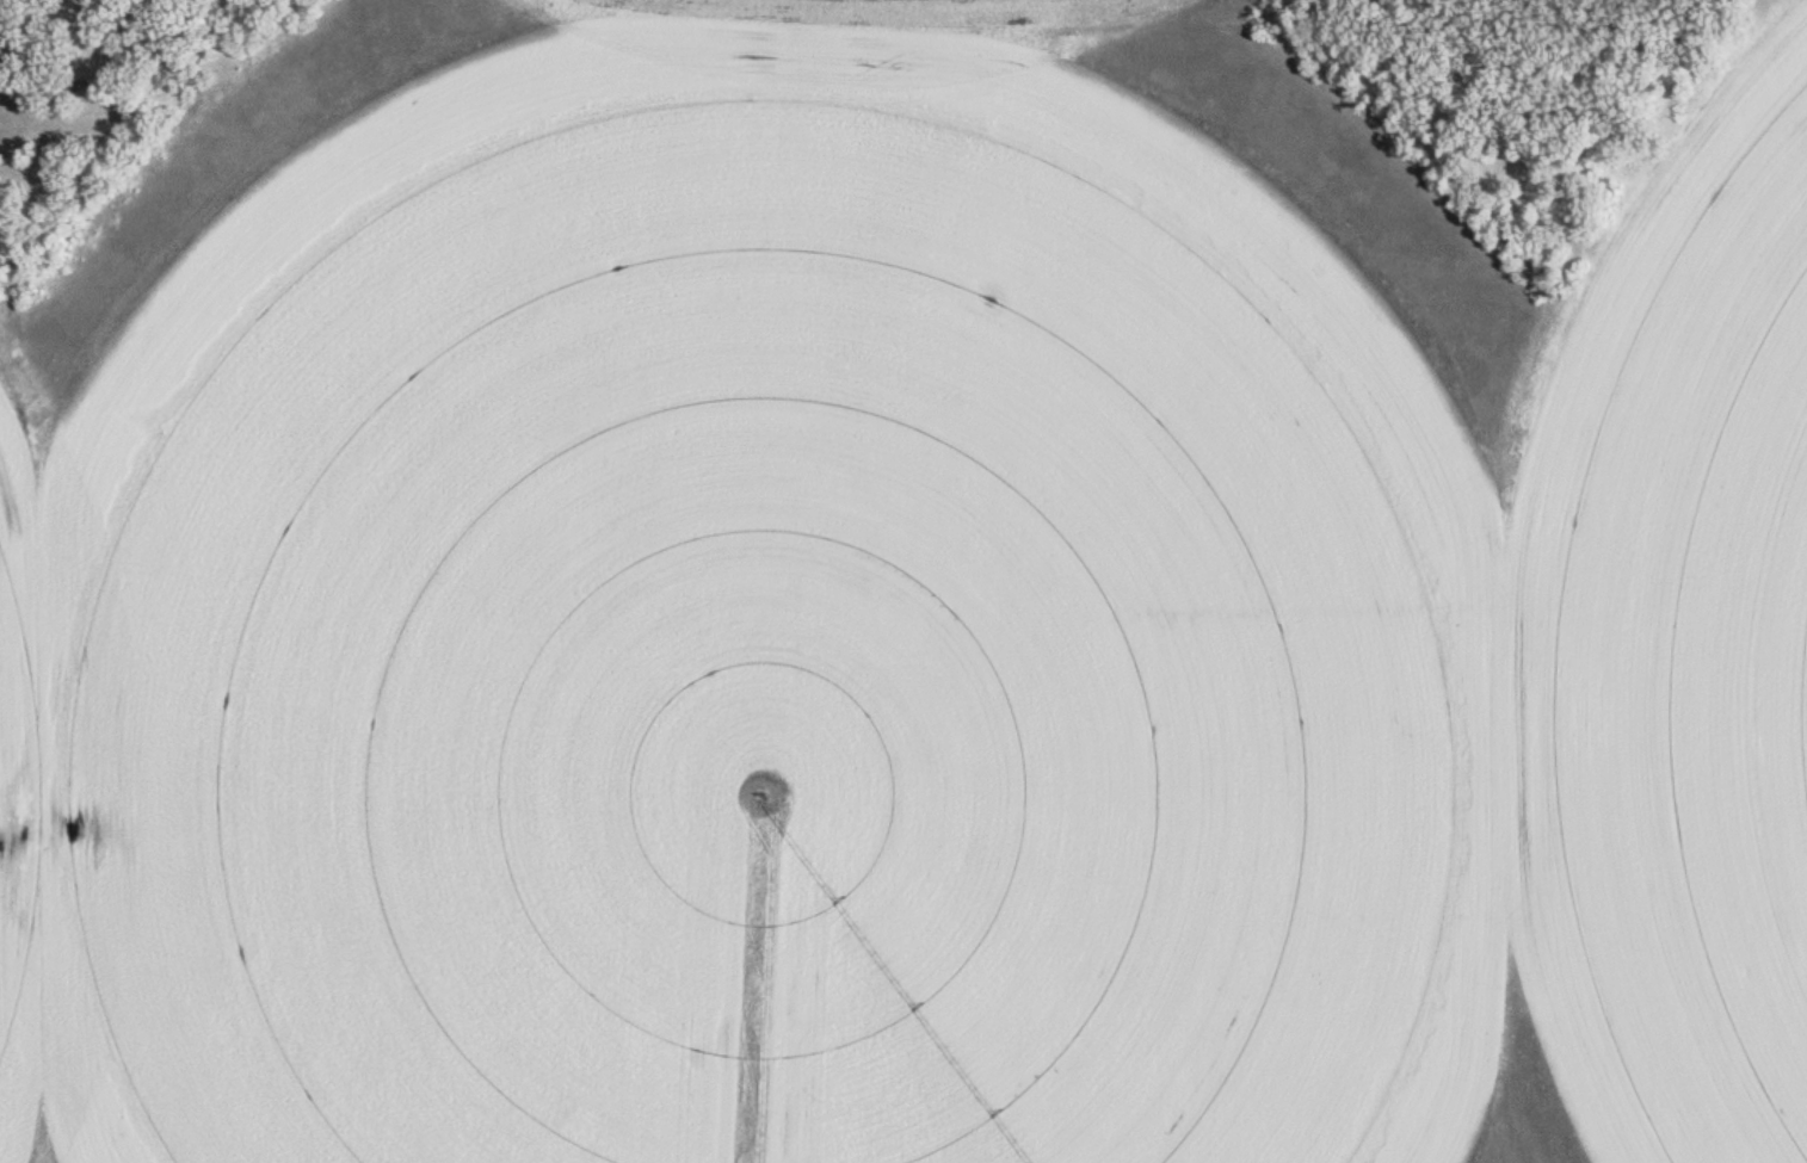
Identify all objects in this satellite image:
wastewater plant: (903, 581)

